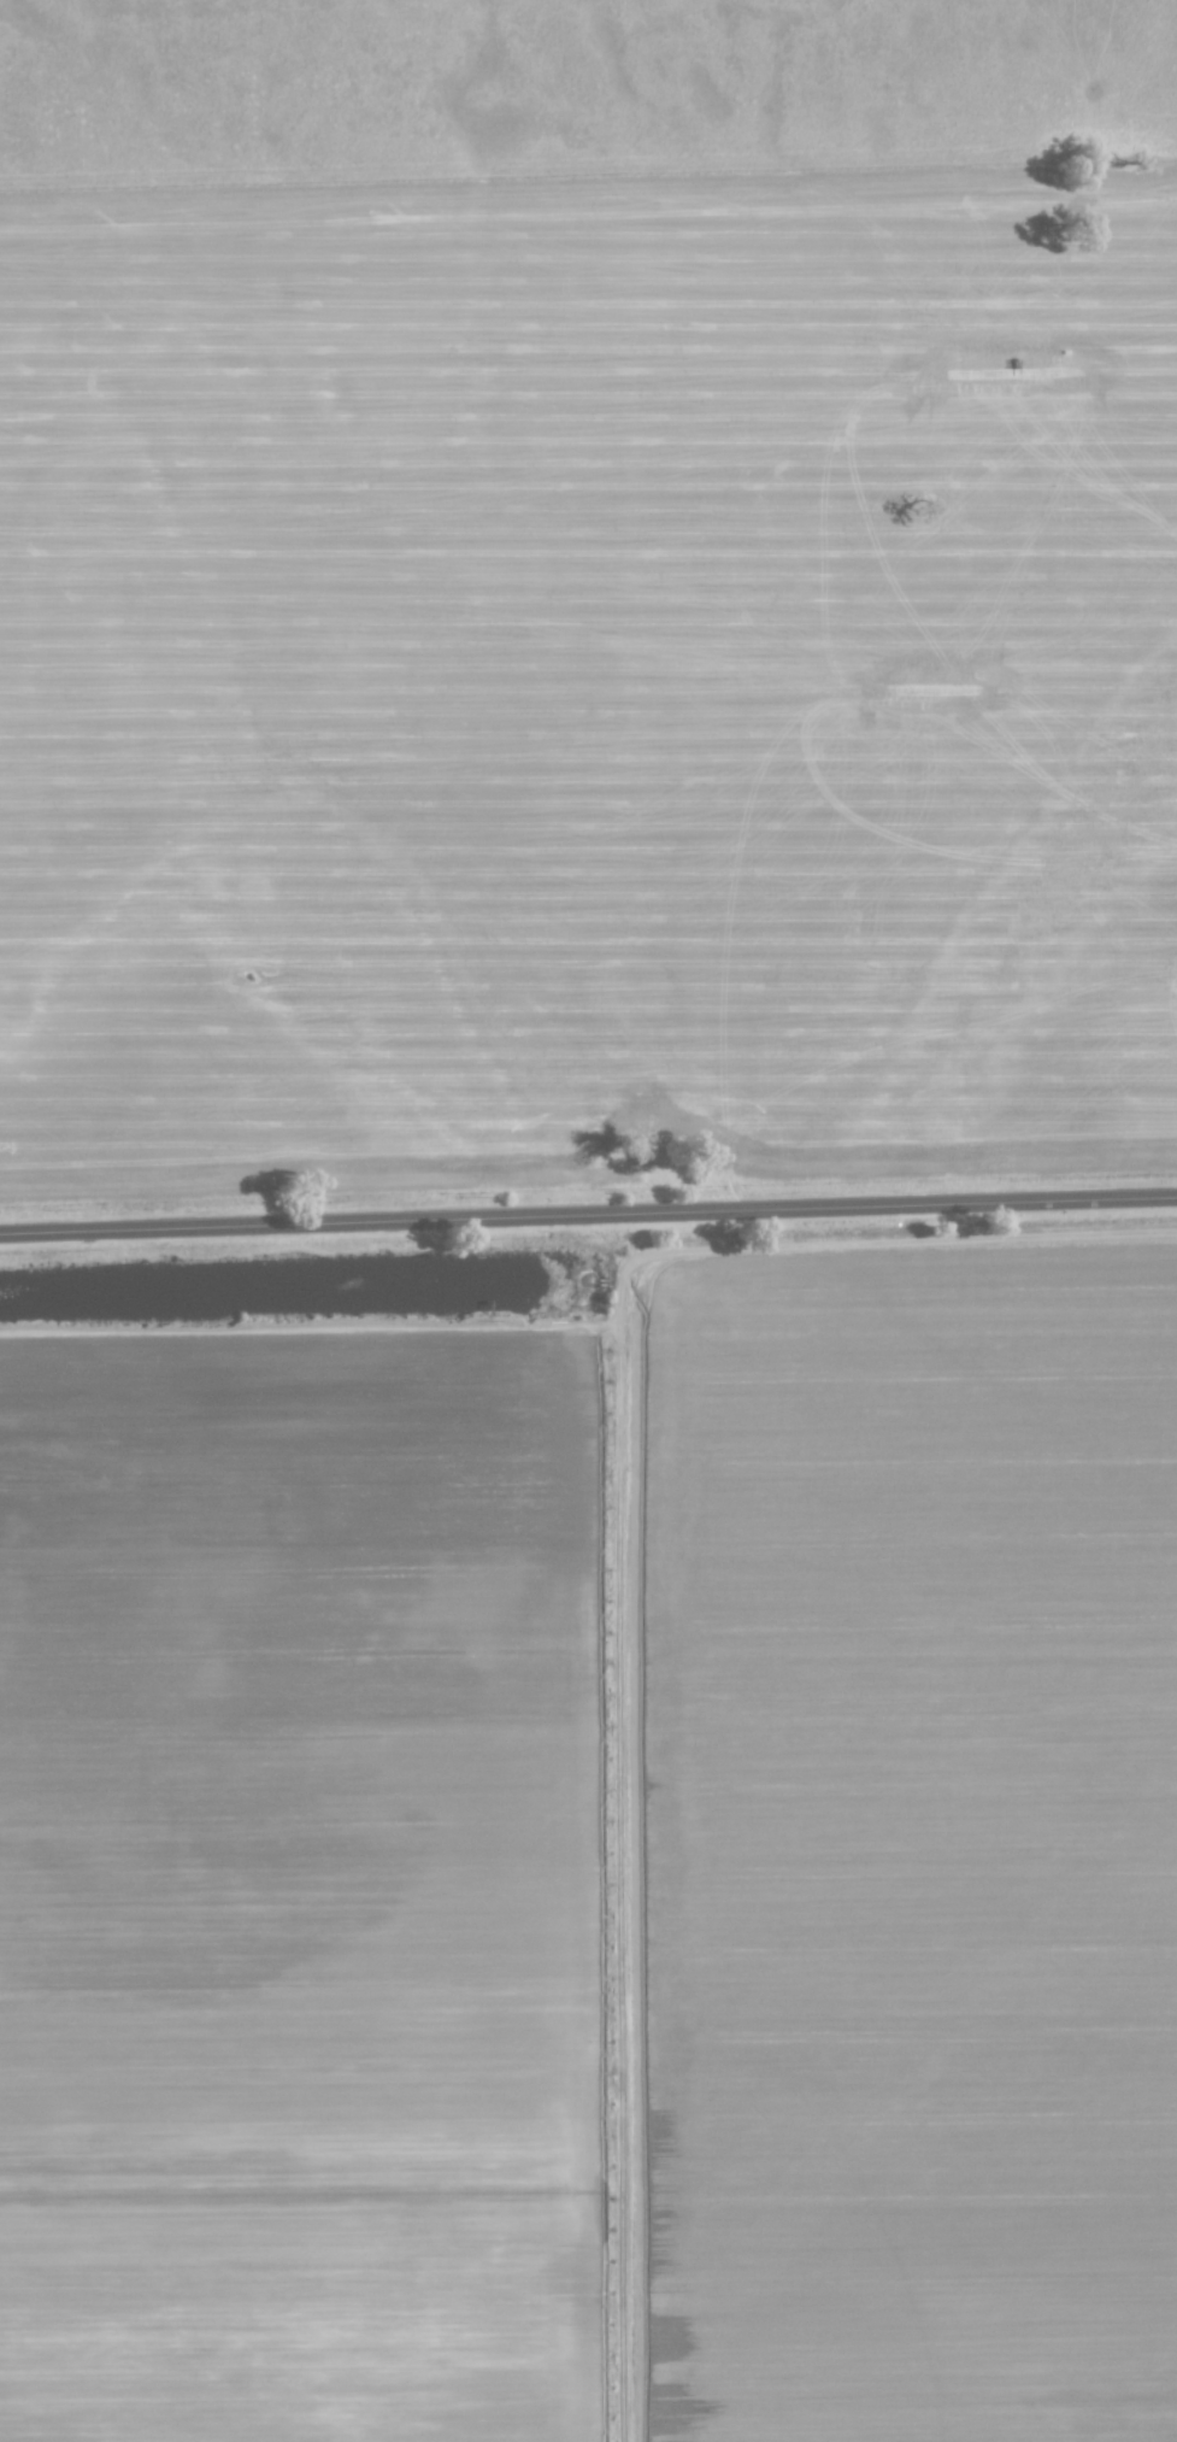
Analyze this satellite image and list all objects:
road: (588, 1216)

